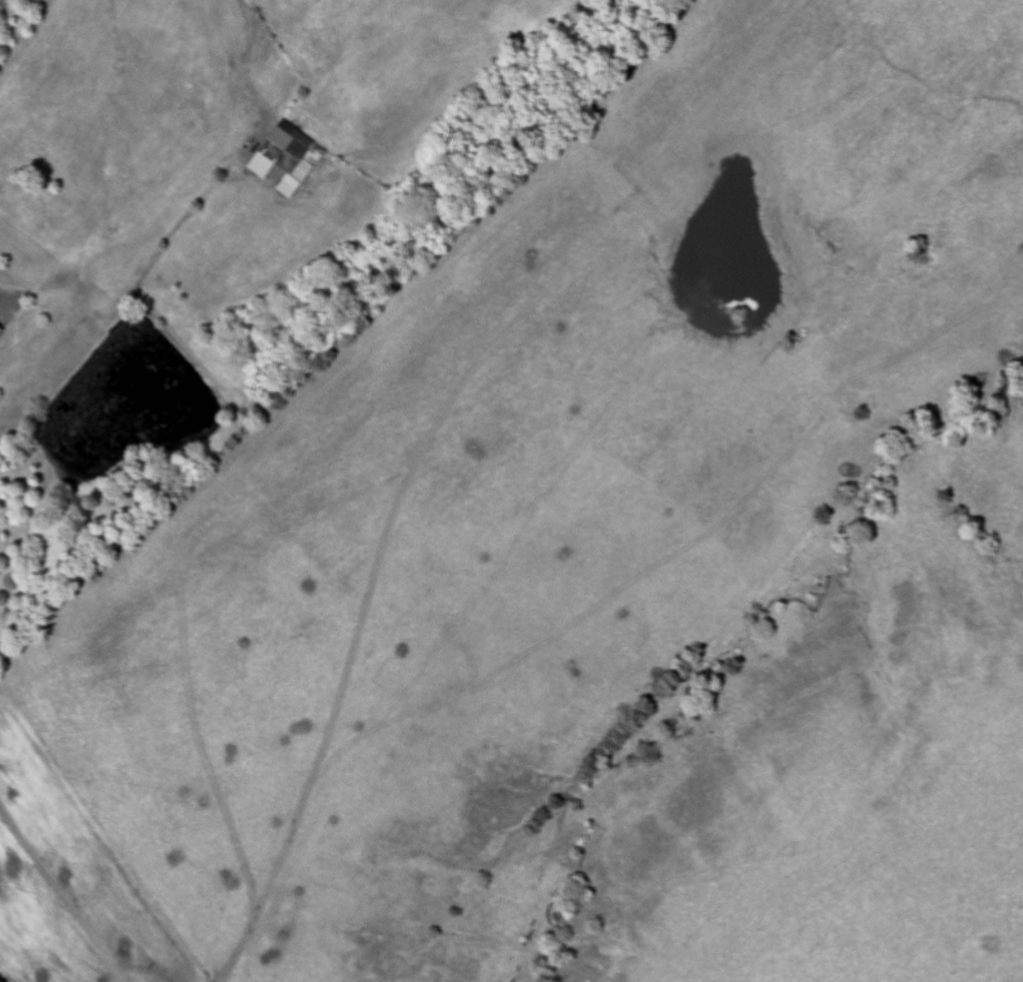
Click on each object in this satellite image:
building: (288, 158)
building: (2, 331)

